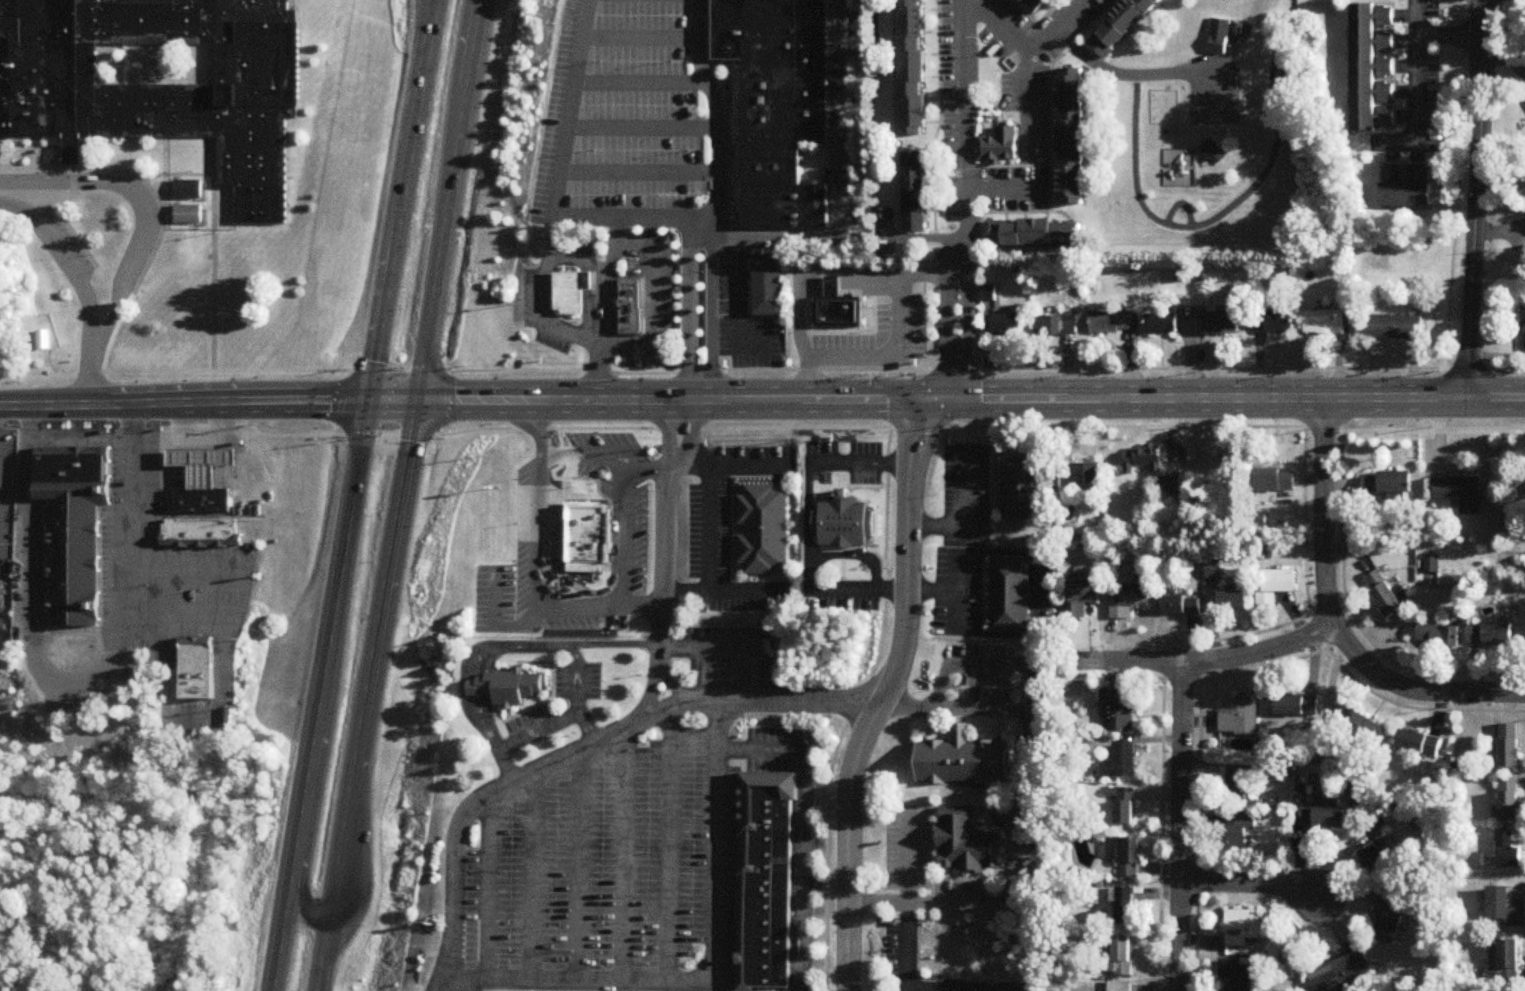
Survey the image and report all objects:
building: (1038, 4)
parking lot: (641, 16)
building: (1121, 24)
road: (1036, 26)
road: (1000, 28)
road: (1450, 35)
building: (1219, 38)
road: (641, 41)
road: (5, 43)
parking lot: (637, 61)
building: (1365, 64)
park: (158, 65)
building: (775, 66)
building: (913, 67)
road: (456, 74)
road: (470, 75)
road: (1129, 77)
building: (161, 81)
road: (643, 83)
road: (1415, 92)
road: (730, 96)
parking lot: (638, 107)
park: (1215, 108)
road: (718, 109)
road: (1028, 109)
parking lot: (554, 113)
road: (727, 119)
road: (939, 120)
road: (644, 128)
building: (1073, 130)
park: (1197, 136)
building: (996, 139)
parking lot: (637, 151)
building: (1213, 154)
road: (74, 157)
road: (212, 158)
road: (732, 166)
road: (640, 171)
road: (562, 172)
road: (133, 178)
road: (843, 182)
road: (73, 183)
building: (187, 186)
building: (777, 188)
building: (915, 191)
road: (732, 194)
road: (48, 195)
parking lot: (633, 195)
building: (1403, 195)
road: (194, 199)
road: (1226, 199)
road: (403, 200)
road: (1476, 201)
road: (32, 203)
road: (143, 203)
road: (966, 204)
road: (1051, 207)
building: (187, 210)
road: (1458, 210)
road: (1060, 214)
road: (701, 220)
road: (68, 231)
road: (213, 231)
building: (1033, 233)
road: (912, 239)
road: (61, 261)
road: (733, 267)
road: (437, 276)
road: (813, 282)
building: (765, 283)
road: (590, 285)
building: (569, 289)
road: (656, 296)
parking lot: (651, 297)
road: (547, 300)
road: (723, 300)
building: (629, 302)
road: (606, 310)
road: (689, 310)
road: (713, 310)
building: (837, 310)
parking lot: (546, 311)
parking lot: (743, 316)
building: (1327, 319)
building: (1114, 320)
building: (1223, 320)
building: (1272, 320)
park: (46, 321)
building: (1011, 321)
building: (1063, 322)
building: (1166, 322)
building: (1399, 322)
building: (1524, 328)
road: (743, 339)
parking lot: (874, 339)
building: (44, 341)
road: (895, 348)
road: (1496, 357)
park: (11, 364)
road: (50, 367)
road: (731, 372)
road: (88, 374)
road: (905, 386)
traffic signals: (371, 401)
road: (393, 401)
traffic signals: (415, 401)
road: (734, 401)
road: (1289, 401)
road: (185, 405)
road: (186, 420)
road: (118, 427)
road: (252, 428)
road: (1300, 428)
road: (579, 430)
road: (191, 435)
road: (64, 439)
parking lot: (598, 442)
parking lot: (821, 449)
parking lot: (864, 450)
road: (583, 455)
parking lot: (755, 456)
building: (1144, 458)
building: (204, 462)
road: (644, 470)
road: (730, 470)
building: (73, 472)
parking lot: (574, 473)
building: (1086, 473)
road: (808, 476)
parking lot: (817, 478)
parking lot: (867, 479)
building: (1277, 481)
building: (1023, 484)
building: (1389, 485)
building: (1172, 487)
building: (1462, 492)
building: (204, 500)
road: (134, 515)
road: (968, 517)
road: (351, 520)
building: (843, 520)
parking lot: (553, 522)
building: (757, 523)
road: (659, 527)
building: (200, 531)
building: (583, 531)
road: (707, 531)
parking lot: (691, 532)
parking lot: (721, 532)
road: (622, 534)
building: (1079, 534)
road: (540, 536)
parking lot: (636, 538)
road: (33, 541)
parking lot: (517, 555)
building: (76, 559)
road: (185, 570)
building: (1214, 570)
building: (1277, 586)
road: (859, 590)
road: (723, 592)
road: (933, 592)
building: (1010, 592)
road: (957, 593)
building: (1385, 594)
building: (1083, 596)
parking lot: (482, 599)
building: (1131, 599)
building: (1234, 601)
road: (1346, 602)
park: (446, 605)
building: (1182, 605)
road: (637, 606)
parking lot: (736, 607)
road: (176, 618)
road: (1331, 620)
road: (499, 626)
road: (1318, 633)
parking lot: (729, 635)
building: (1491, 635)
building: (1440, 636)
road: (166, 638)
road: (612, 645)
road: (522, 646)
road: (735, 650)
parking lot: (989, 652)
road: (1220, 658)
road: (371, 659)
park: (1087, 662)
road: (990, 664)
building: (200, 668)
road: (225, 672)
parking lot: (721, 673)
road: (37, 674)
building: (505, 677)
road: (580, 677)
road: (477, 678)
road: (1181, 680)
road: (669, 683)
parking lot: (986, 688)
road: (651, 691)
road: (862, 696)
road: (886, 696)
building: (1297, 706)
building: (1119, 709)
road: (1415, 709)
building: (1240, 722)
road: (486, 726)
building: (1363, 727)
road: (589, 729)
road: (540, 733)
parking lot: (773, 735)
building: (1420, 743)
building: (1510, 747)
road: (582, 751)
building: (963, 756)
building: (1123, 761)
road: (508, 768)
road: (1199, 769)
building: (1237, 783)
road: (320, 785)
building: (769, 789)
building: (1510, 799)
building: (1125, 806)
road: (303, 815)
building: (1324, 816)
road: (1014, 817)
road: (1160, 817)
building: (765, 819)
road: (1179, 826)
building: (1379, 829)
road: (803, 832)
building: (1240, 832)
building: (965, 838)
parking lot: (692, 839)
building: (765, 843)
road: (671, 844)
road: (931, 844)
parking lot: (922, 849)
building: (1128, 850)
parking lot: (891, 851)
building: (1509, 851)
road: (626, 853)
parking lot: (647, 858)
building: (1375, 860)
road: (581, 864)
parking lot: (602, 866)
building: (765, 869)
parking lot: (557, 873)
road: (536, 875)
road: (977, 876)
road: (962, 880)
road: (1249, 884)
parking lot: (512, 885)
road: (490, 886)
parking lot: (960, 888)
building: (764, 898)
building: (1126, 906)
parking lot: (474, 907)
building: (1504, 908)
building: (1390, 918)
building: (763, 926)
road: (905, 926)
building: (1244, 928)
building: (763, 951)
road: (322, 955)
building: (1120, 959)
building: (1510, 960)
road: (715, 973)
building: (1239, 974)
building: (1340, 975)
building: (763, 976)
road: (450, 984)
road: (4, 985)
building: (1121, 986)
road: (904, 990)

